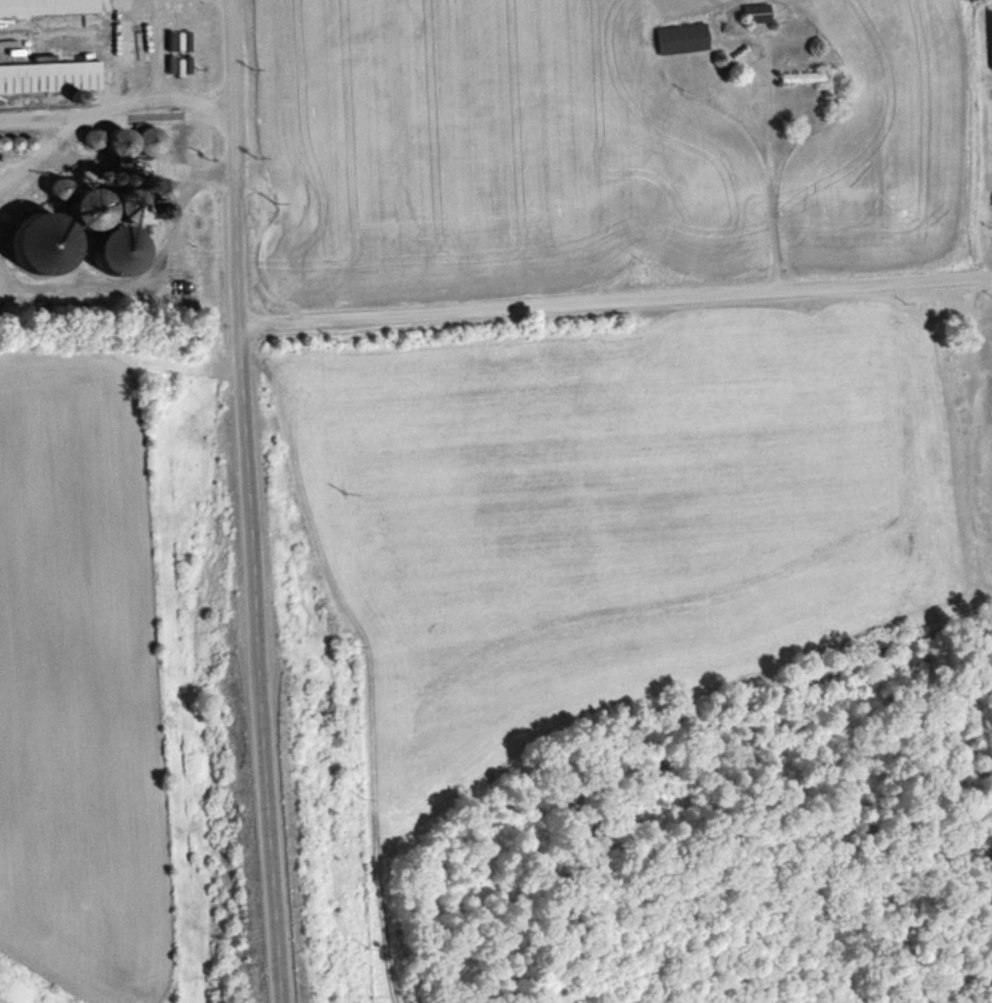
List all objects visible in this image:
building: (46, 7)
building: (991, 13)
building: (756, 14)
building: (680, 38)
building: (49, 76)
building: (803, 77)
road: (228, 80)
building: (90, 138)
building: (148, 141)
building: (120, 142)
road: (762, 158)
building: (130, 205)
building: (88, 208)
building: (45, 243)
building: (118, 250)
road: (615, 294)
road: (254, 582)

